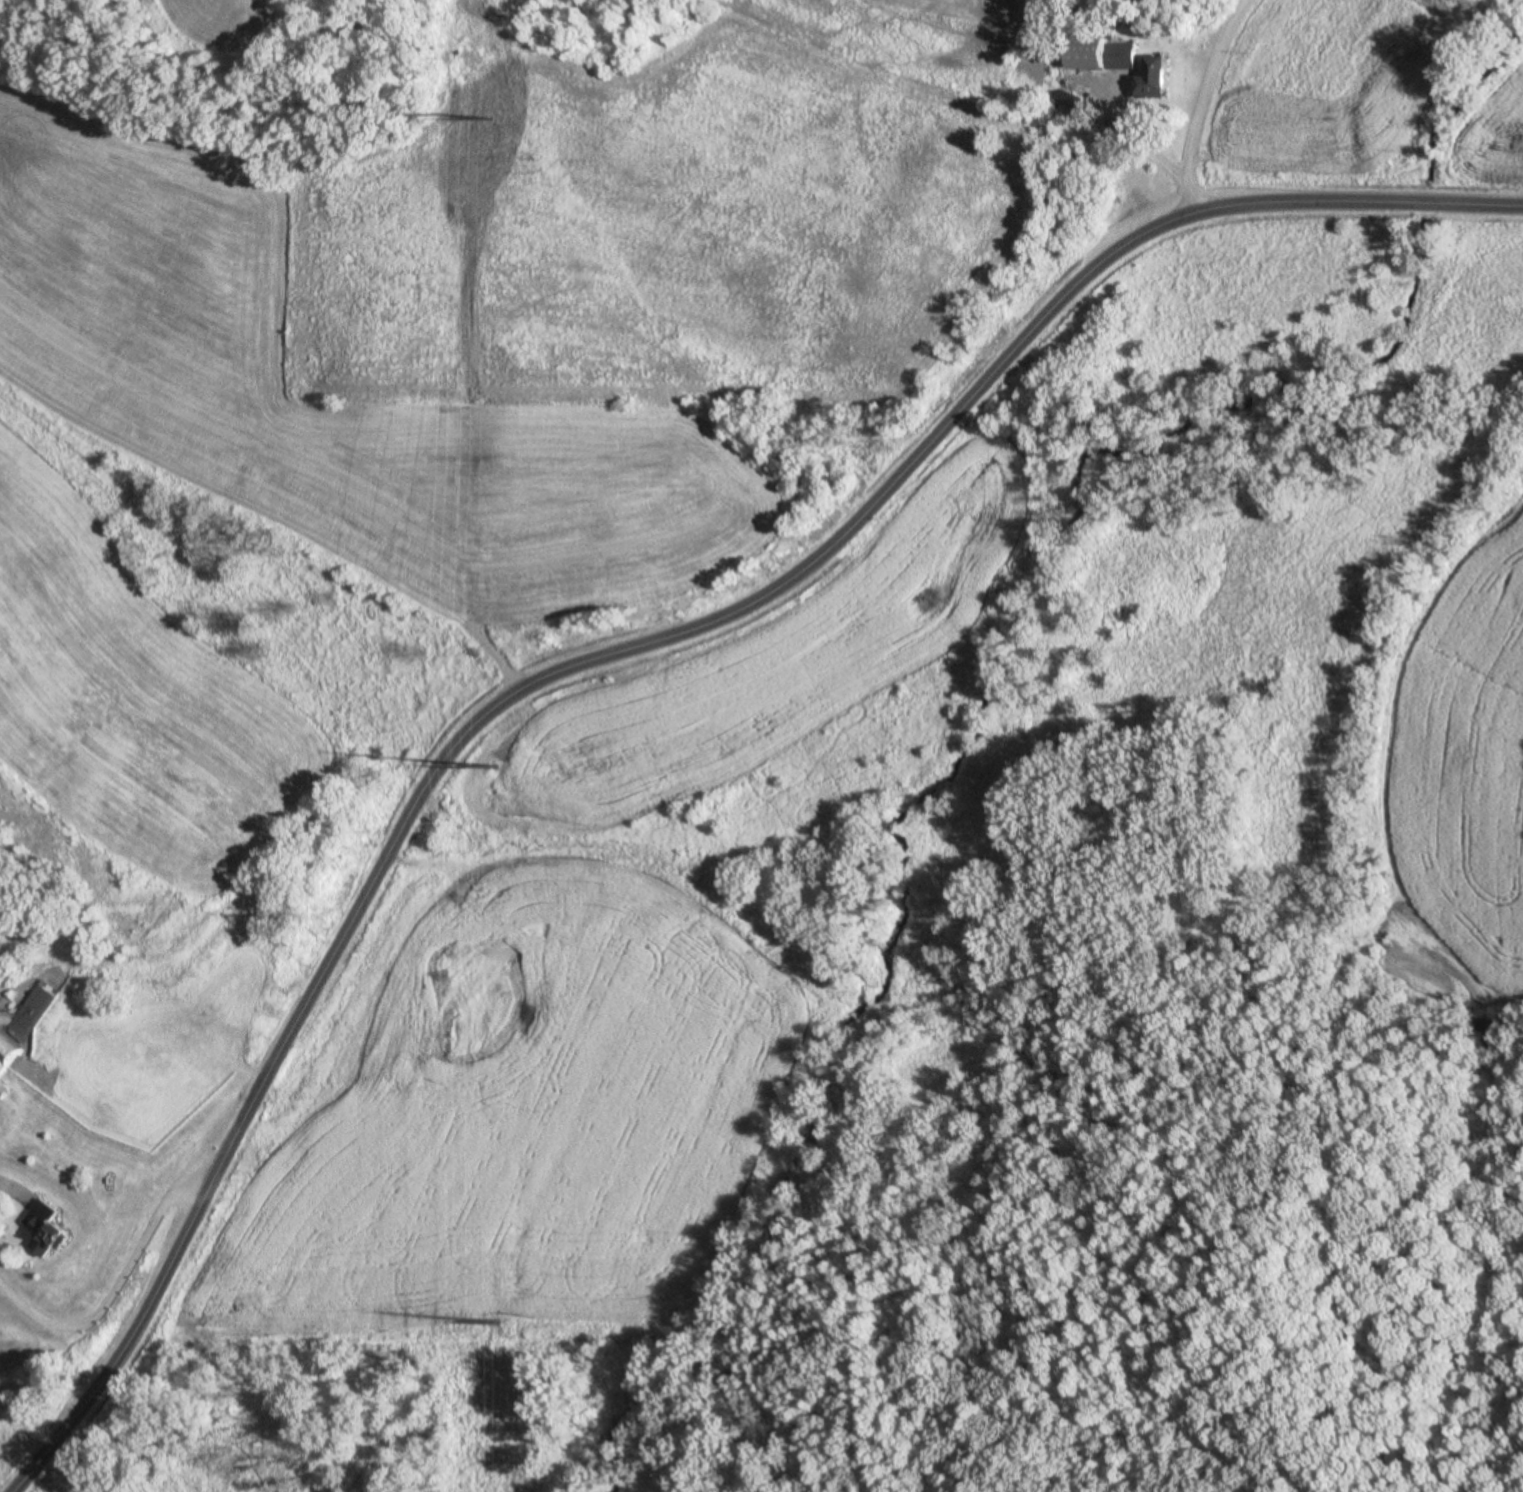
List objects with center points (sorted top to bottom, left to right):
building: (1115, 54)
building: (1150, 76)
road: (1195, 103)
power tower: (486, 116)
road: (472, 630)
road: (622, 653)
power tower: (490, 763)
building: (29, 1010)
building: (7, 1051)
building: (2, 1090)
building: (44, 1233)
road: (121, 1297)
power tower: (495, 1322)

